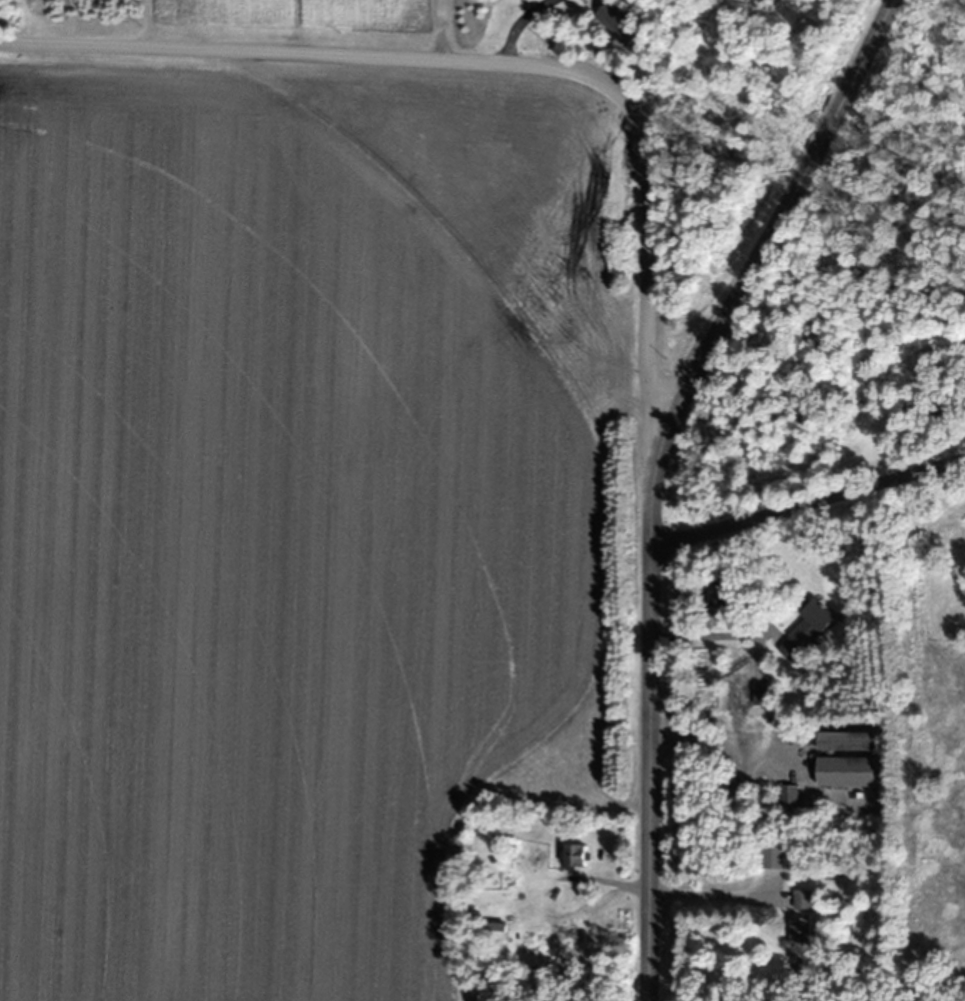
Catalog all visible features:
building: (617, 16)
road: (496, 57)
road: (771, 222)
road: (807, 499)
crop: (302, 509)
building: (807, 632)
road: (650, 722)
building: (850, 742)
building: (850, 771)
building: (790, 795)
building: (577, 855)
building: (779, 857)
building: (804, 898)
building: (495, 930)
building: (801, 938)

